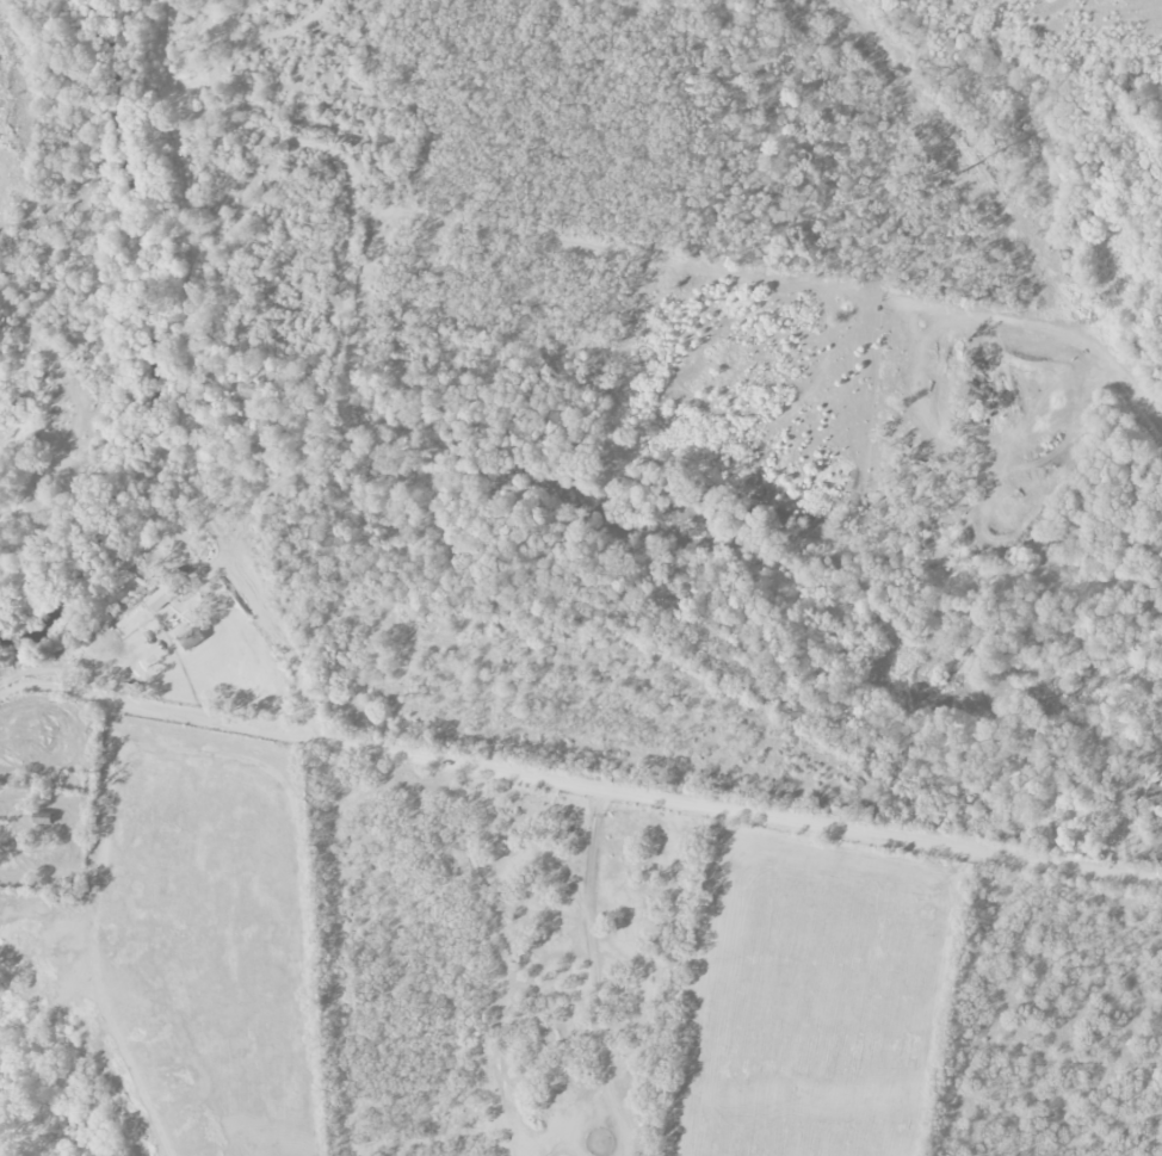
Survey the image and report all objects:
power tower: (968, 177)
building: (191, 638)
road: (580, 774)
building: (1154, 798)
road: (302, 877)
road: (95, 932)

